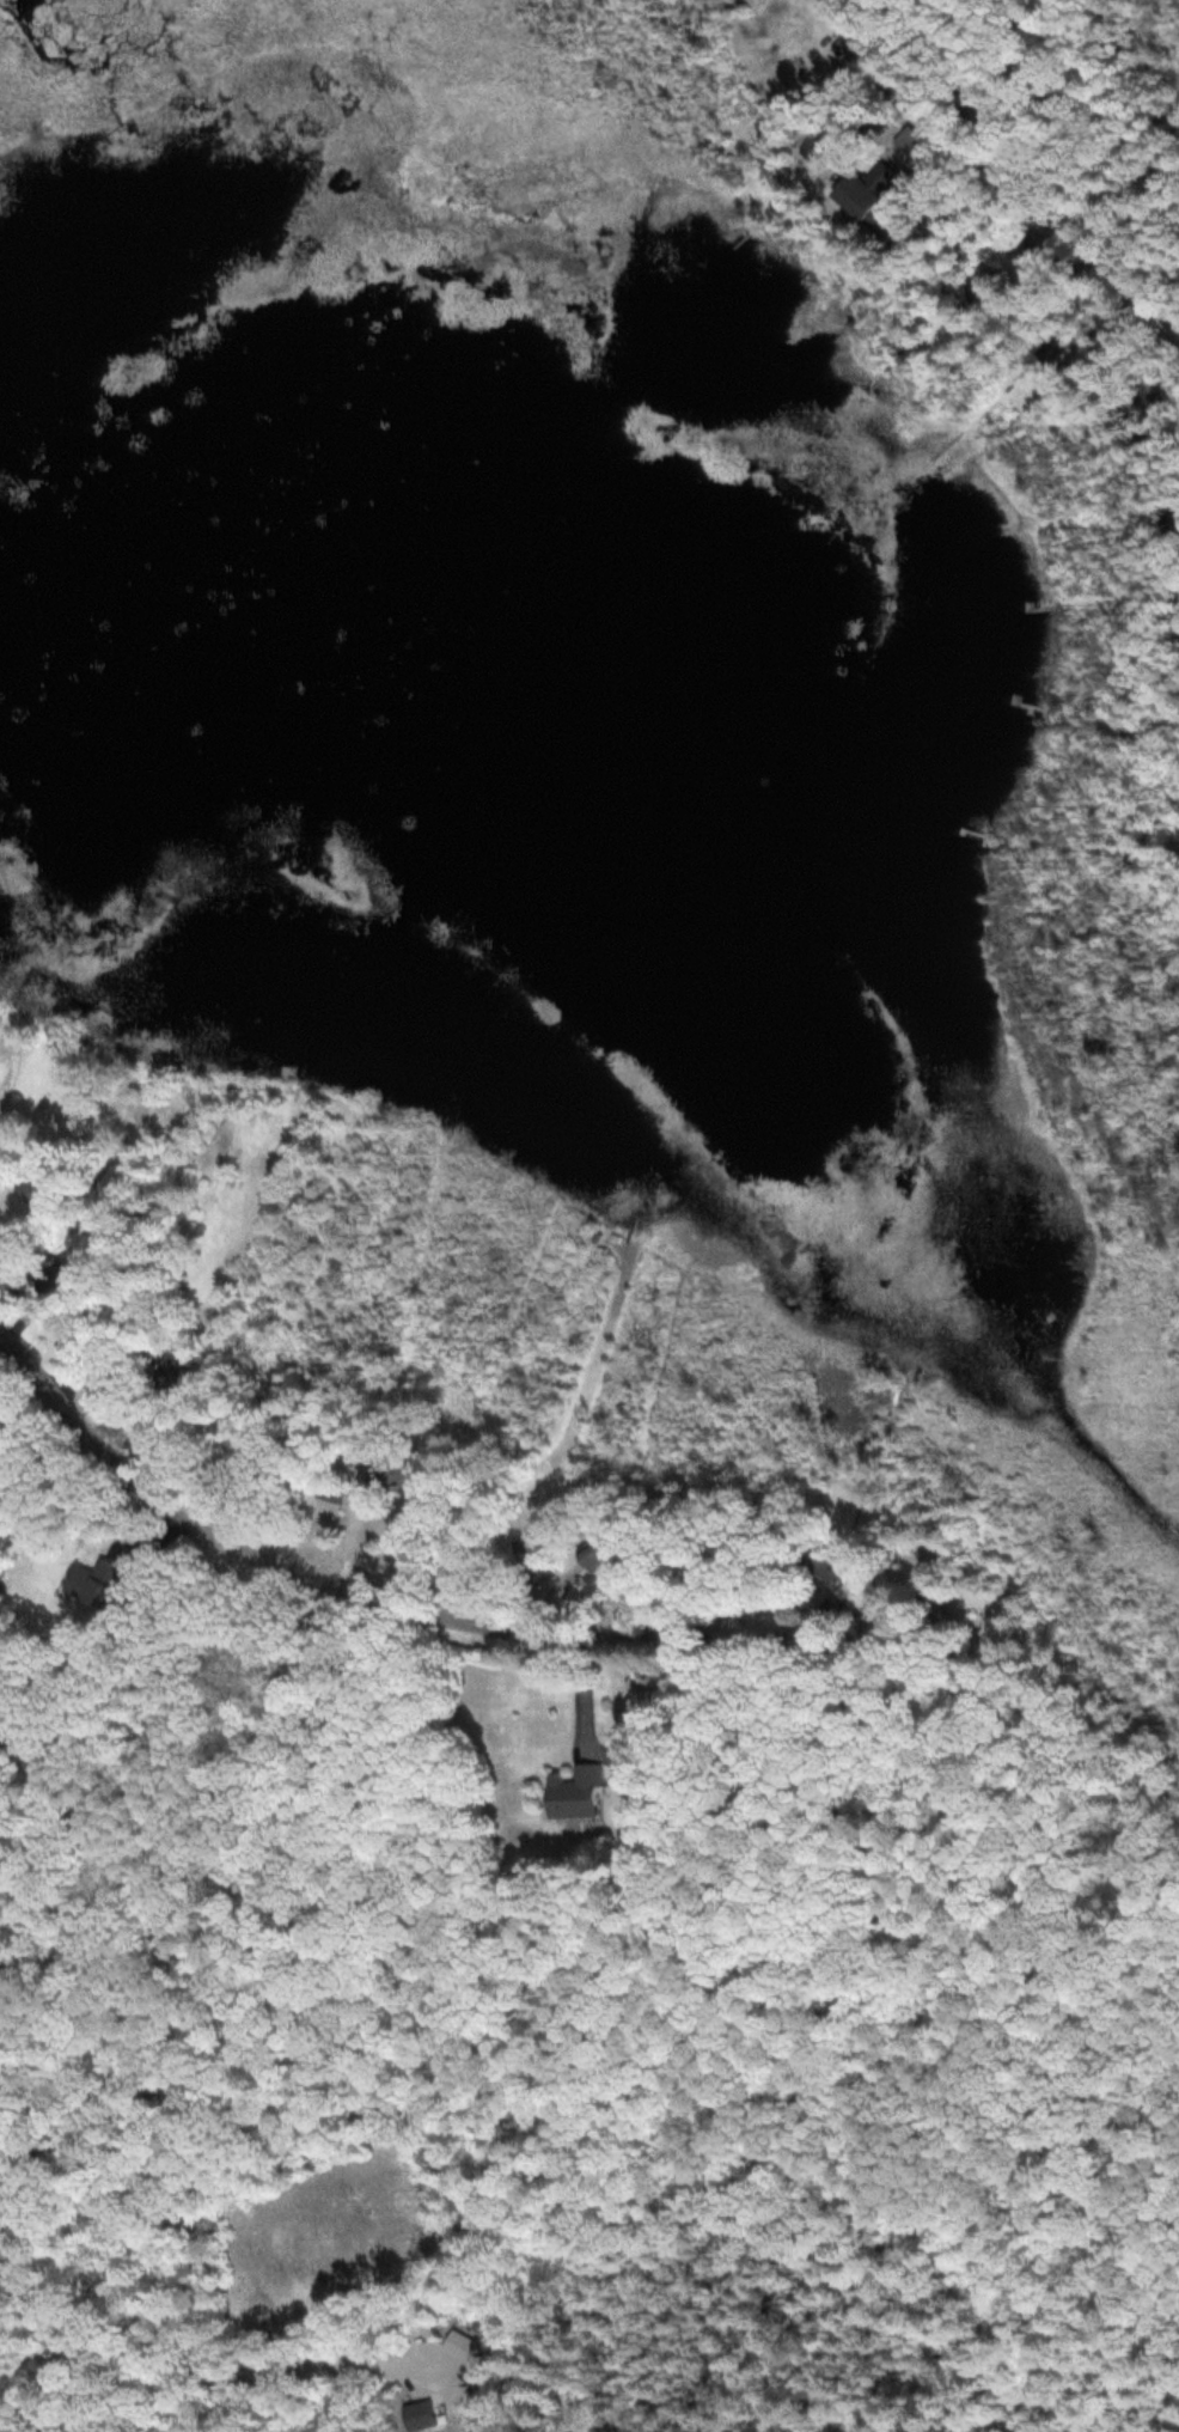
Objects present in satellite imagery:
road: (1000, 170)
building: (861, 194)
building: (35, 1188)
building: (172, 1372)
building: (252, 1457)
building: (389, 1475)
building: (334, 1488)
building: (533, 1559)
road: (350, 1593)
building: (575, 1793)
road: (191, 2056)

